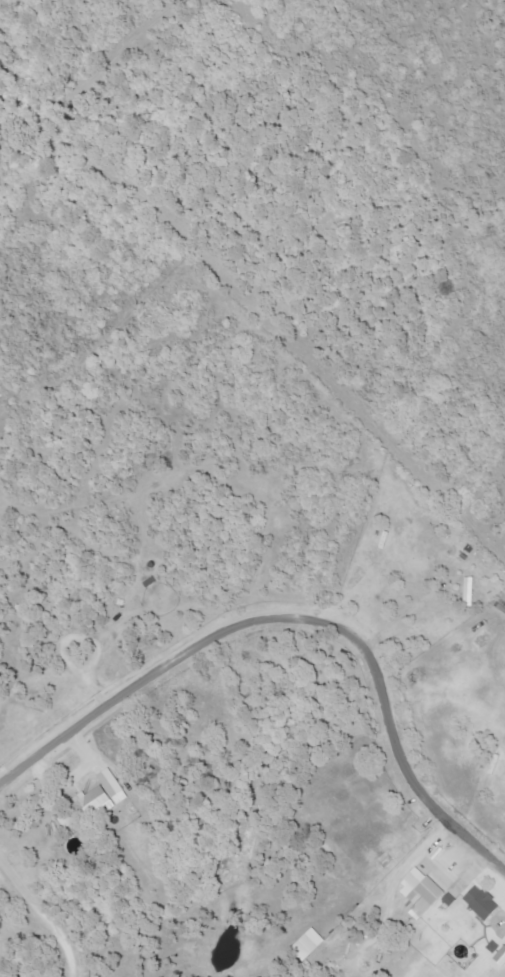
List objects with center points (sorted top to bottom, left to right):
building: (469, 590)
road: (395, 617)
road: (299, 618)
building: (99, 797)
building: (66, 819)
building: (421, 893)
building: (482, 902)
road: (42, 917)
building: (308, 944)

